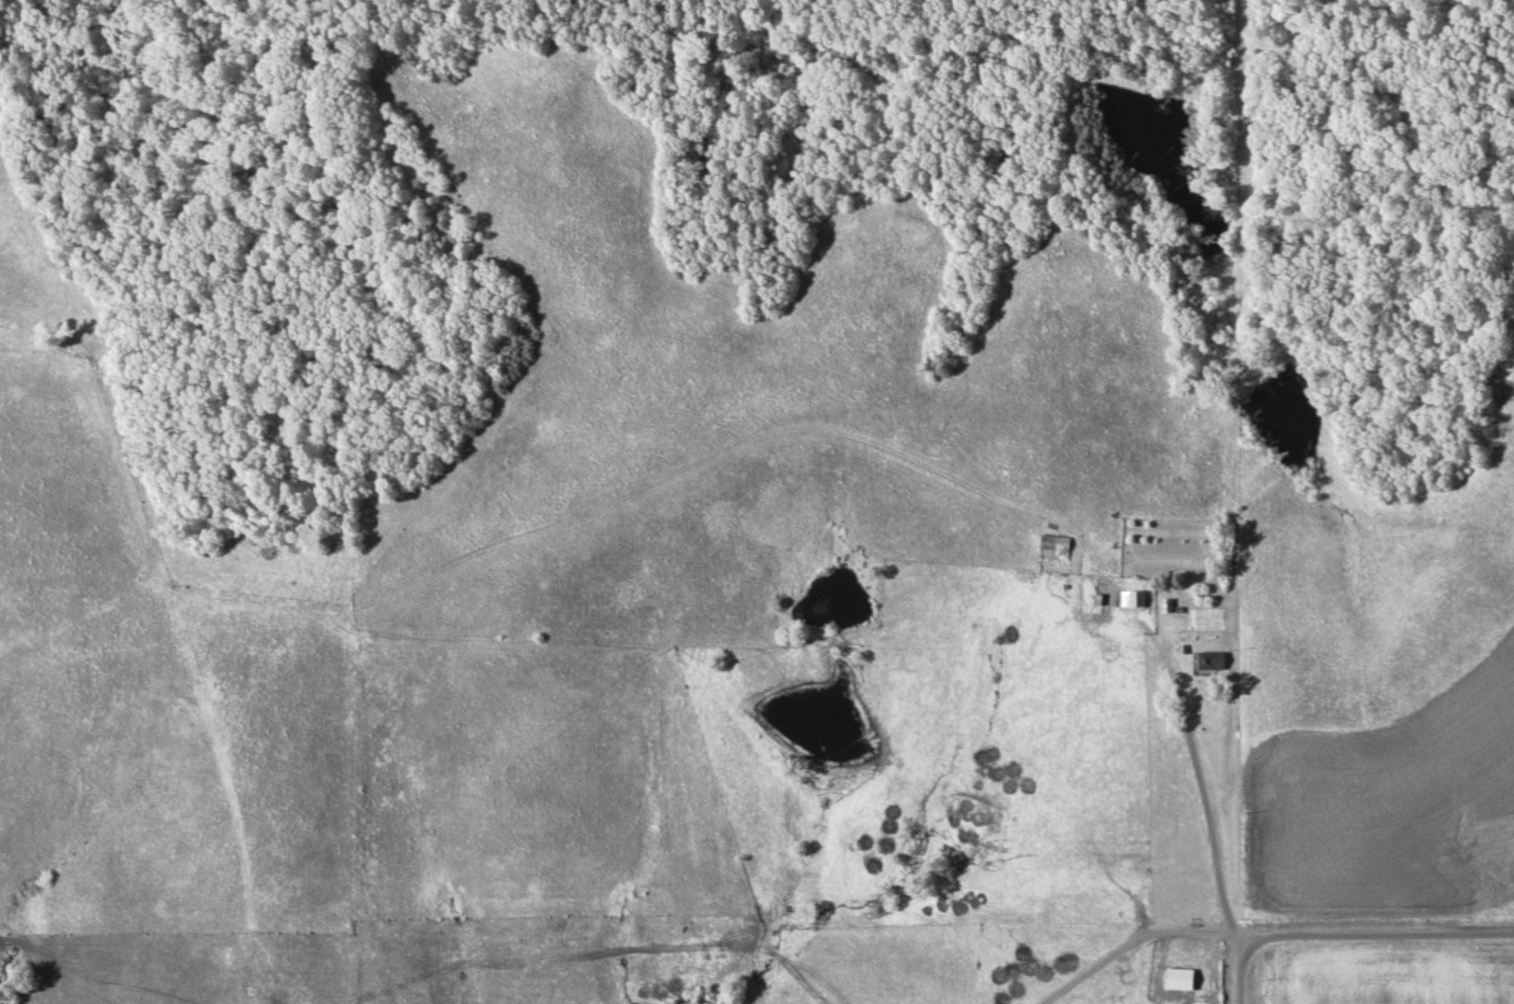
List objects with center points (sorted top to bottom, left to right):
building: (1054, 547)
building: (1132, 598)
building: (1210, 660)
road: (1376, 934)
road: (1240, 970)

